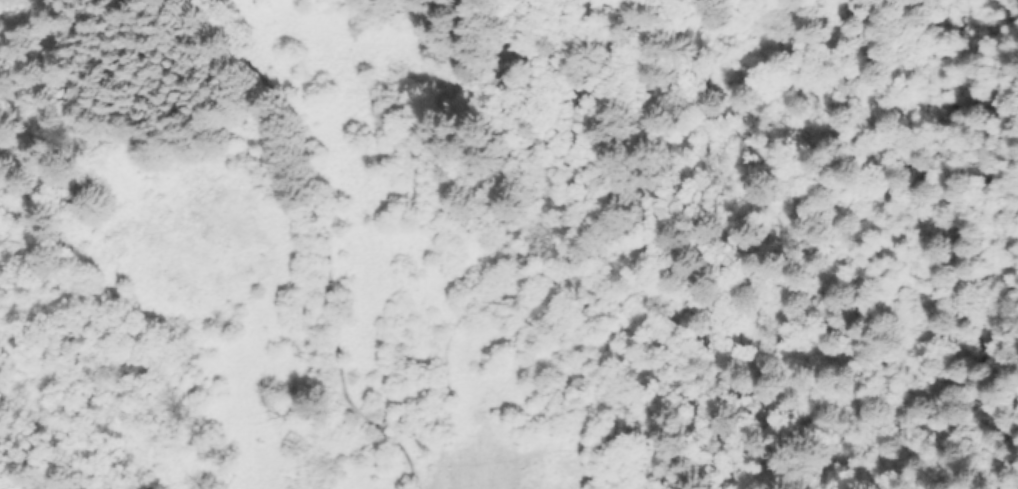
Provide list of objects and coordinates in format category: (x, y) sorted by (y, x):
road: (538, 62)
road: (79, 74)
road: (858, 119)
road: (934, 160)
road: (979, 193)
road: (321, 246)
road: (521, 246)

